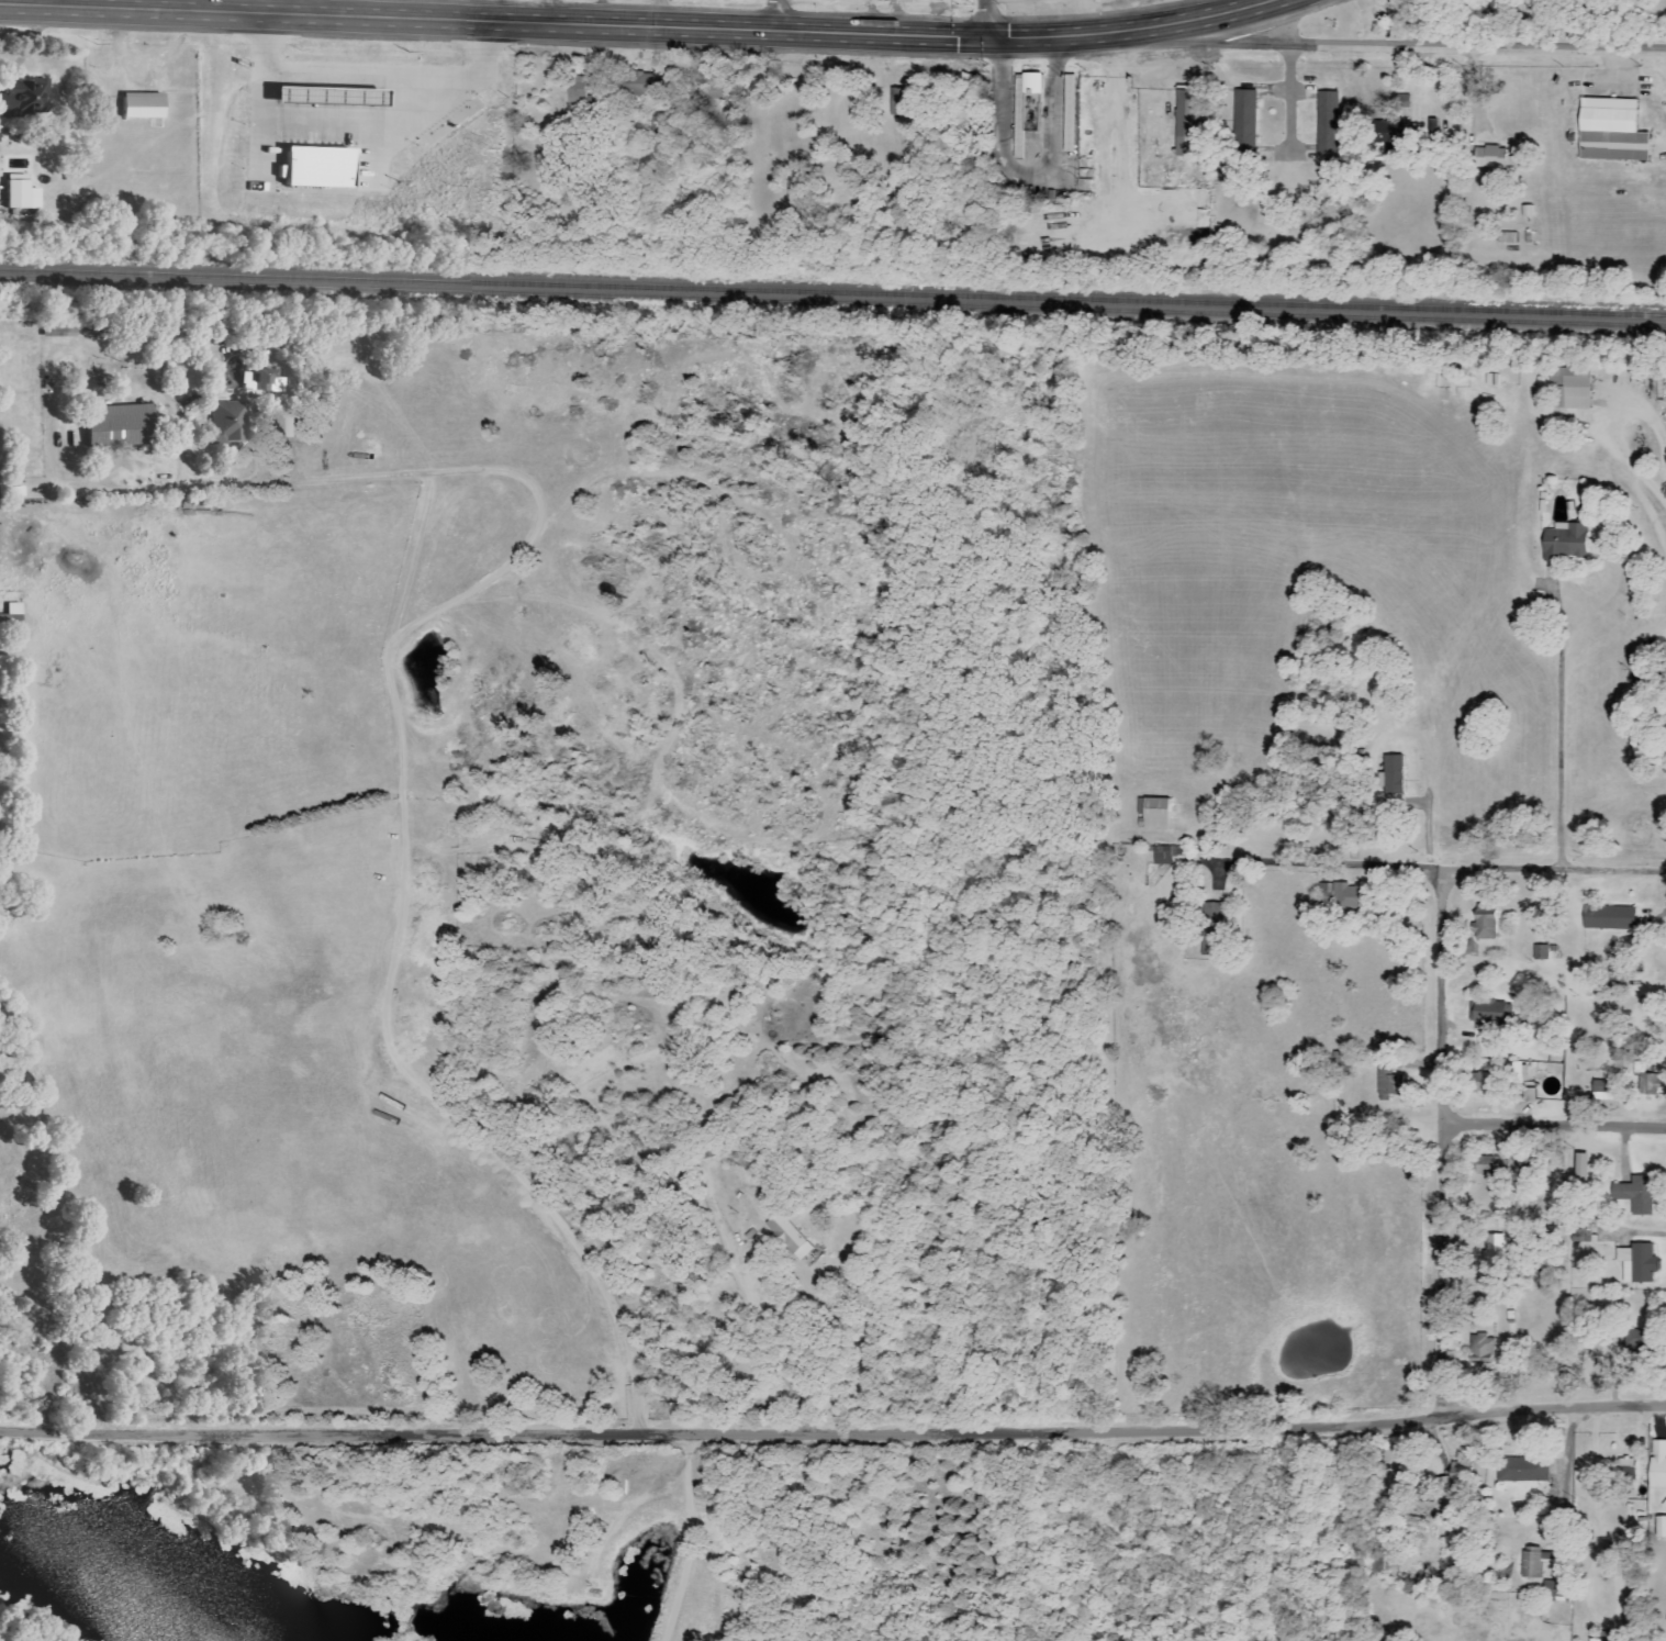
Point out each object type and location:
road: (89, 0)
road: (306, 5)
road: (545, 10)
road: (775, 13)
road: (977, 16)
road: (1186, 18)
road: (573, 20)
road: (1388, 47)
building: (634, 83)
building: (574, 88)
building: (712, 90)
building: (24, 98)
road: (1289, 99)
building: (1026, 107)
building: (1069, 113)
road: (358, 116)
building: (1242, 121)
building: (1327, 121)
building: (1192, 123)
road: (1423, 125)
building: (1610, 131)
building: (1387, 134)
building: (1490, 157)
building: (314, 167)
building: (19, 193)
building: (1528, 211)
building: (1507, 237)
railway: (832, 292)
railway: (832, 303)
building: (1569, 387)
building: (223, 422)
road: (1629, 458)
building: (1564, 542)
building: (11, 621)
road: (1559, 722)
building: (1393, 774)
building: (1152, 813)
building: (1161, 856)
road: (405, 862)
road: (1442, 867)
building: (1346, 896)
building: (1608, 918)
building: (1485, 923)
building: (1541, 952)
building: (1488, 1012)
building: (1485, 1083)
building: (1519, 1084)
building: (1650, 1084)
road: (1555, 1126)
road: (1444, 1141)
building: (1491, 1165)
building: (1635, 1195)
building: (1579, 1231)
building: (787, 1237)
building: (1494, 1251)
building: (1636, 1263)
building: (1635, 1339)
building: (1480, 1349)
road: (773, 1359)
road: (832, 1429)
building: (1657, 1465)
building: (1625, 1469)
building: (1524, 1470)
building: (1446, 1483)
building: (1413, 1527)
building: (1661, 1527)
building: (1387, 1549)
building: (1533, 1563)
building: (1553, 1588)
building: (1602, 1637)

